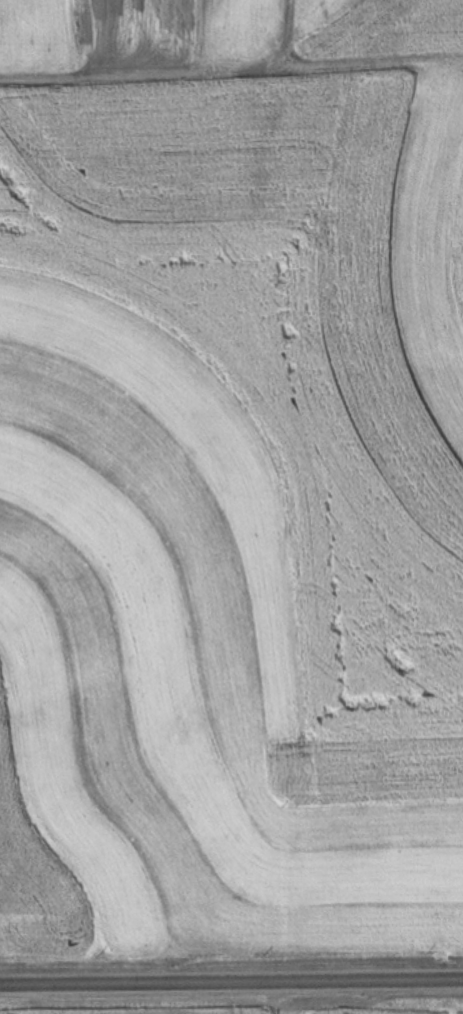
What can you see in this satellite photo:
road: (231, 982)

